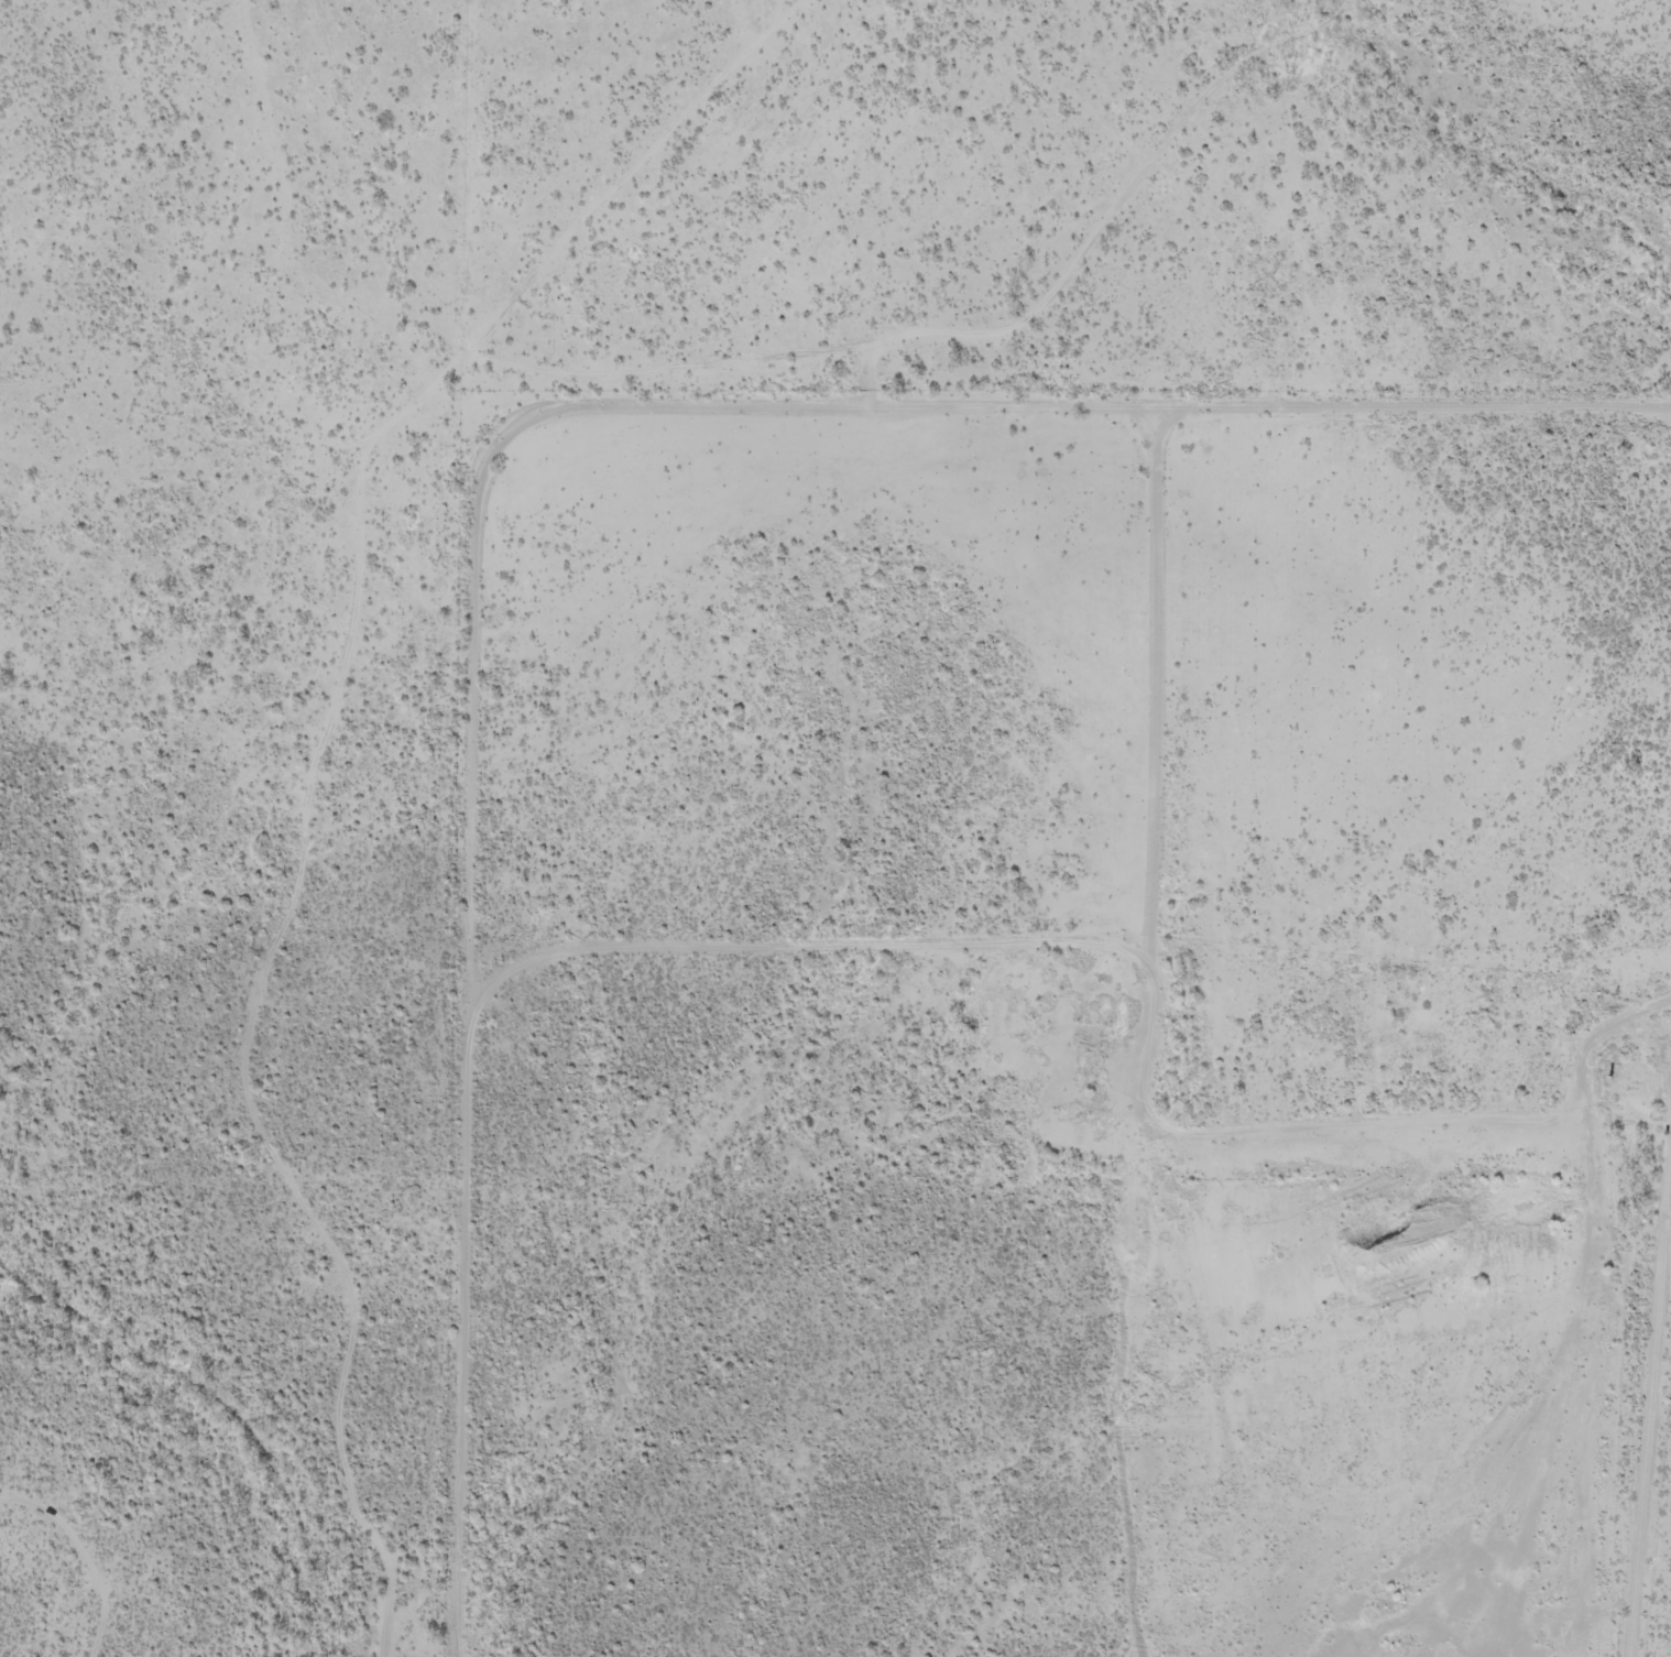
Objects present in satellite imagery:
road: (489, 447)
road: (1662, 468)
road: (1126, 985)

